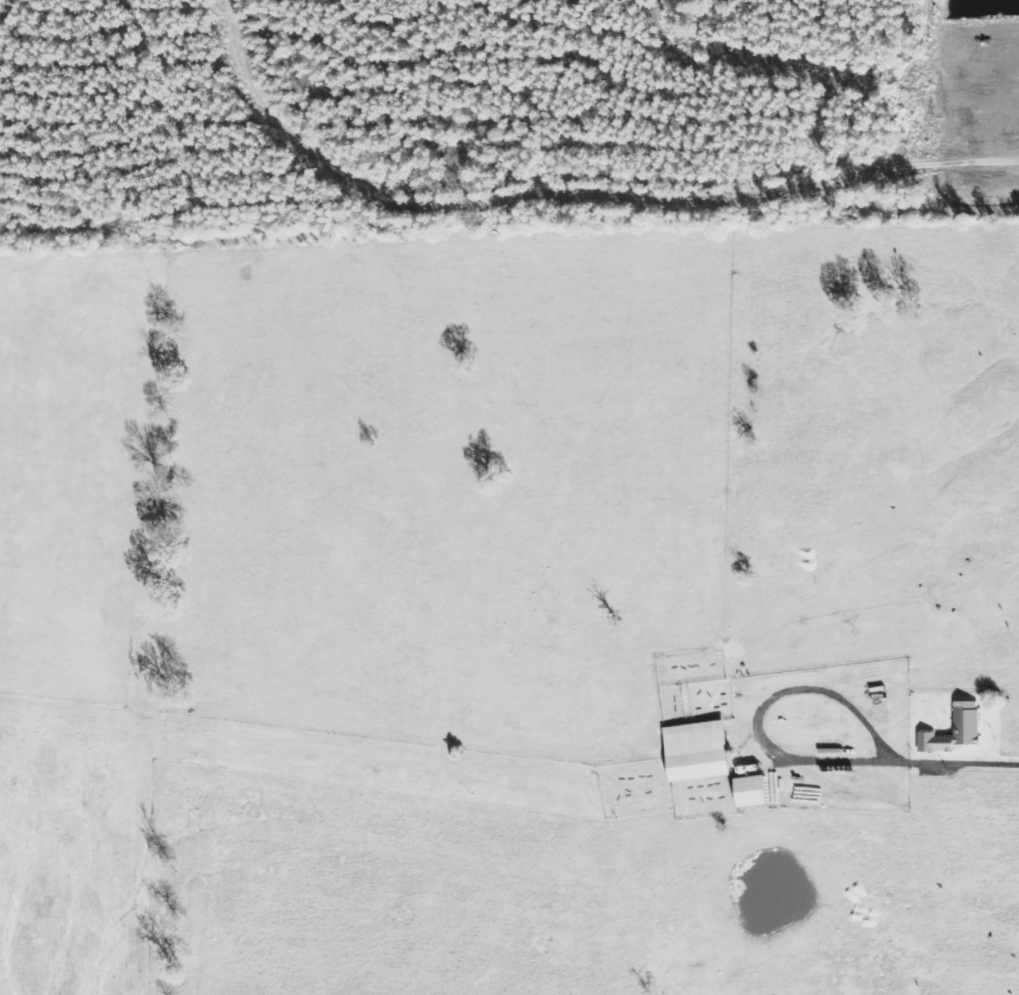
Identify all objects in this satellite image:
road: (765, 708)
building: (957, 730)
building: (700, 751)
road: (961, 761)
building: (754, 791)

